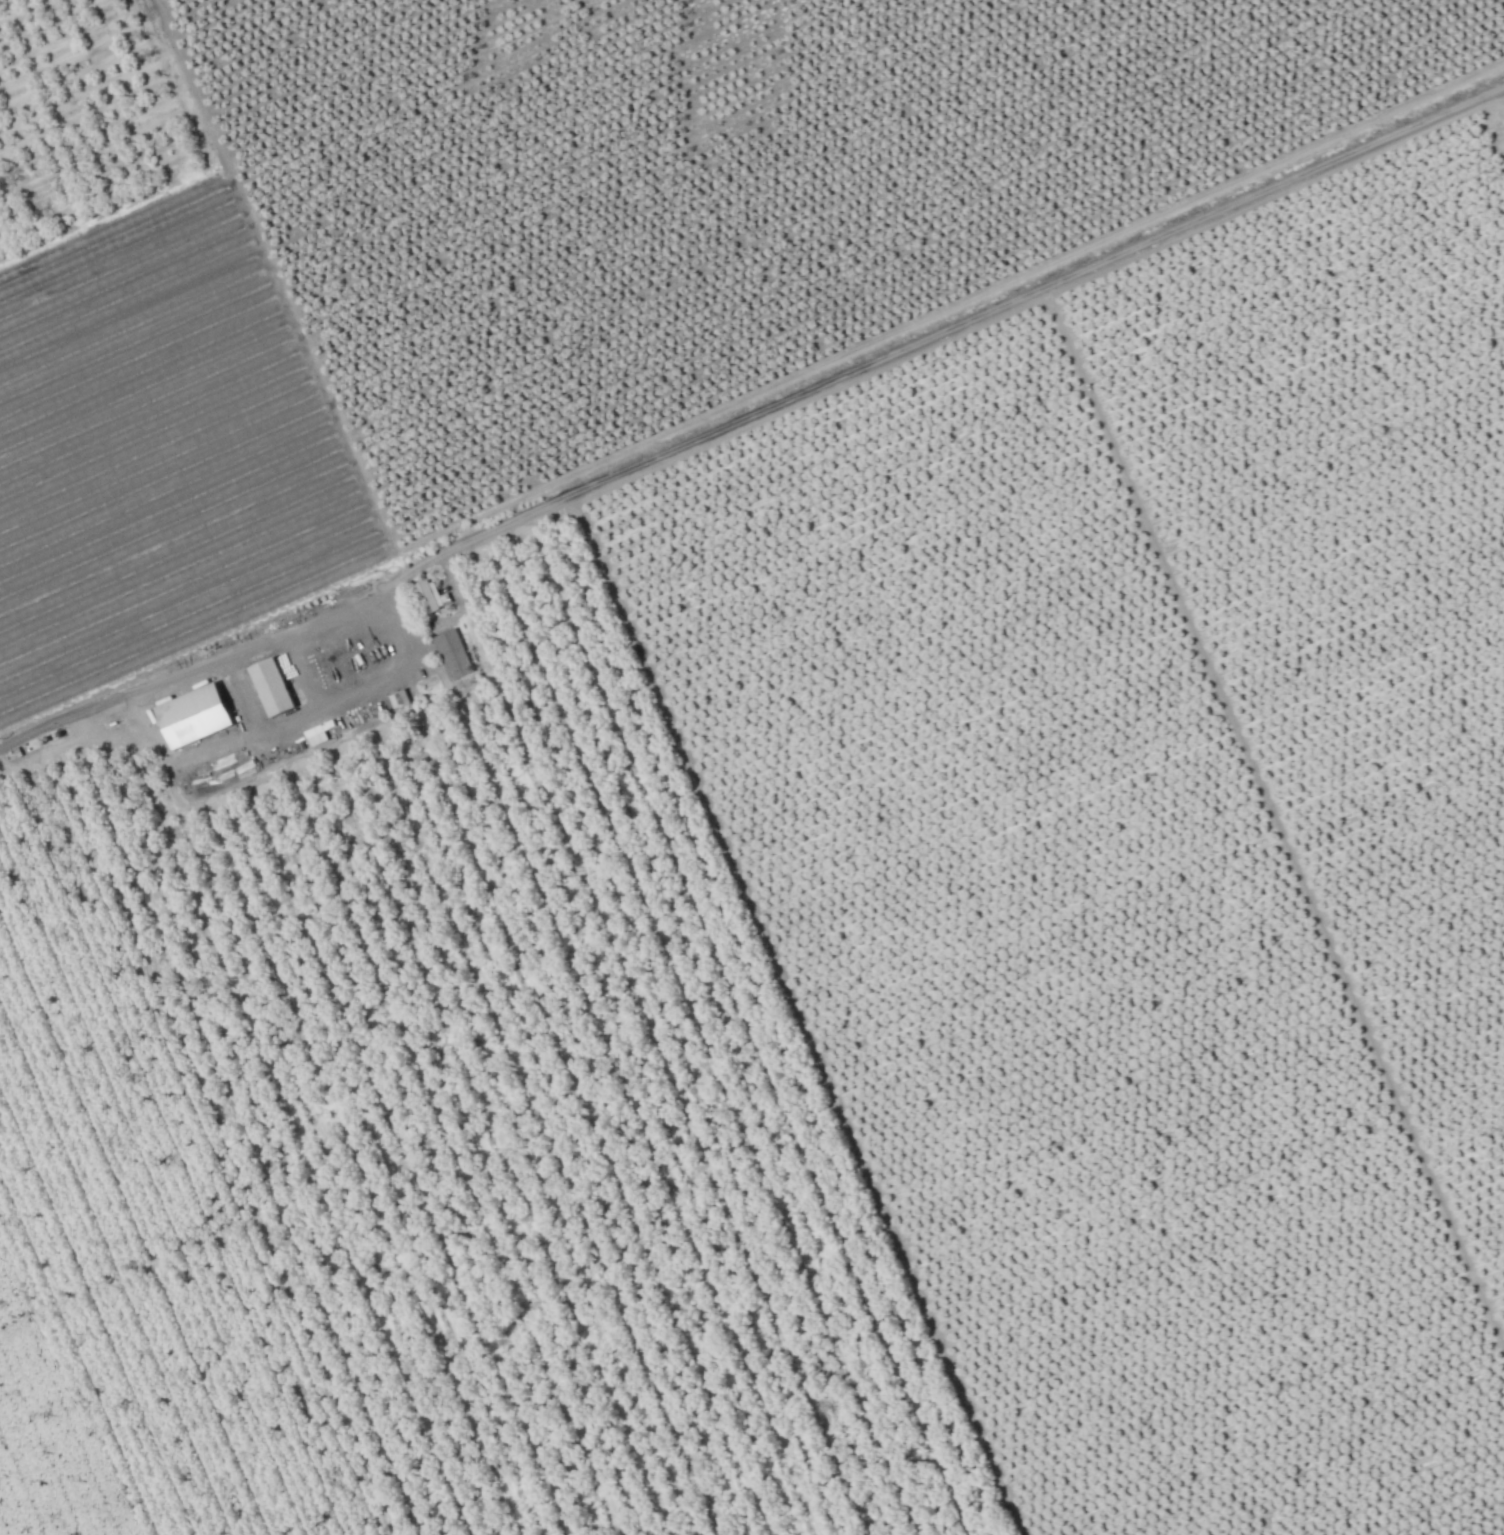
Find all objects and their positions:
road: (939, 334)
road: (749, 400)
building: (428, 595)
building: (451, 654)
building: (270, 687)
building: (192, 716)
road: (259, 724)
building: (316, 735)

